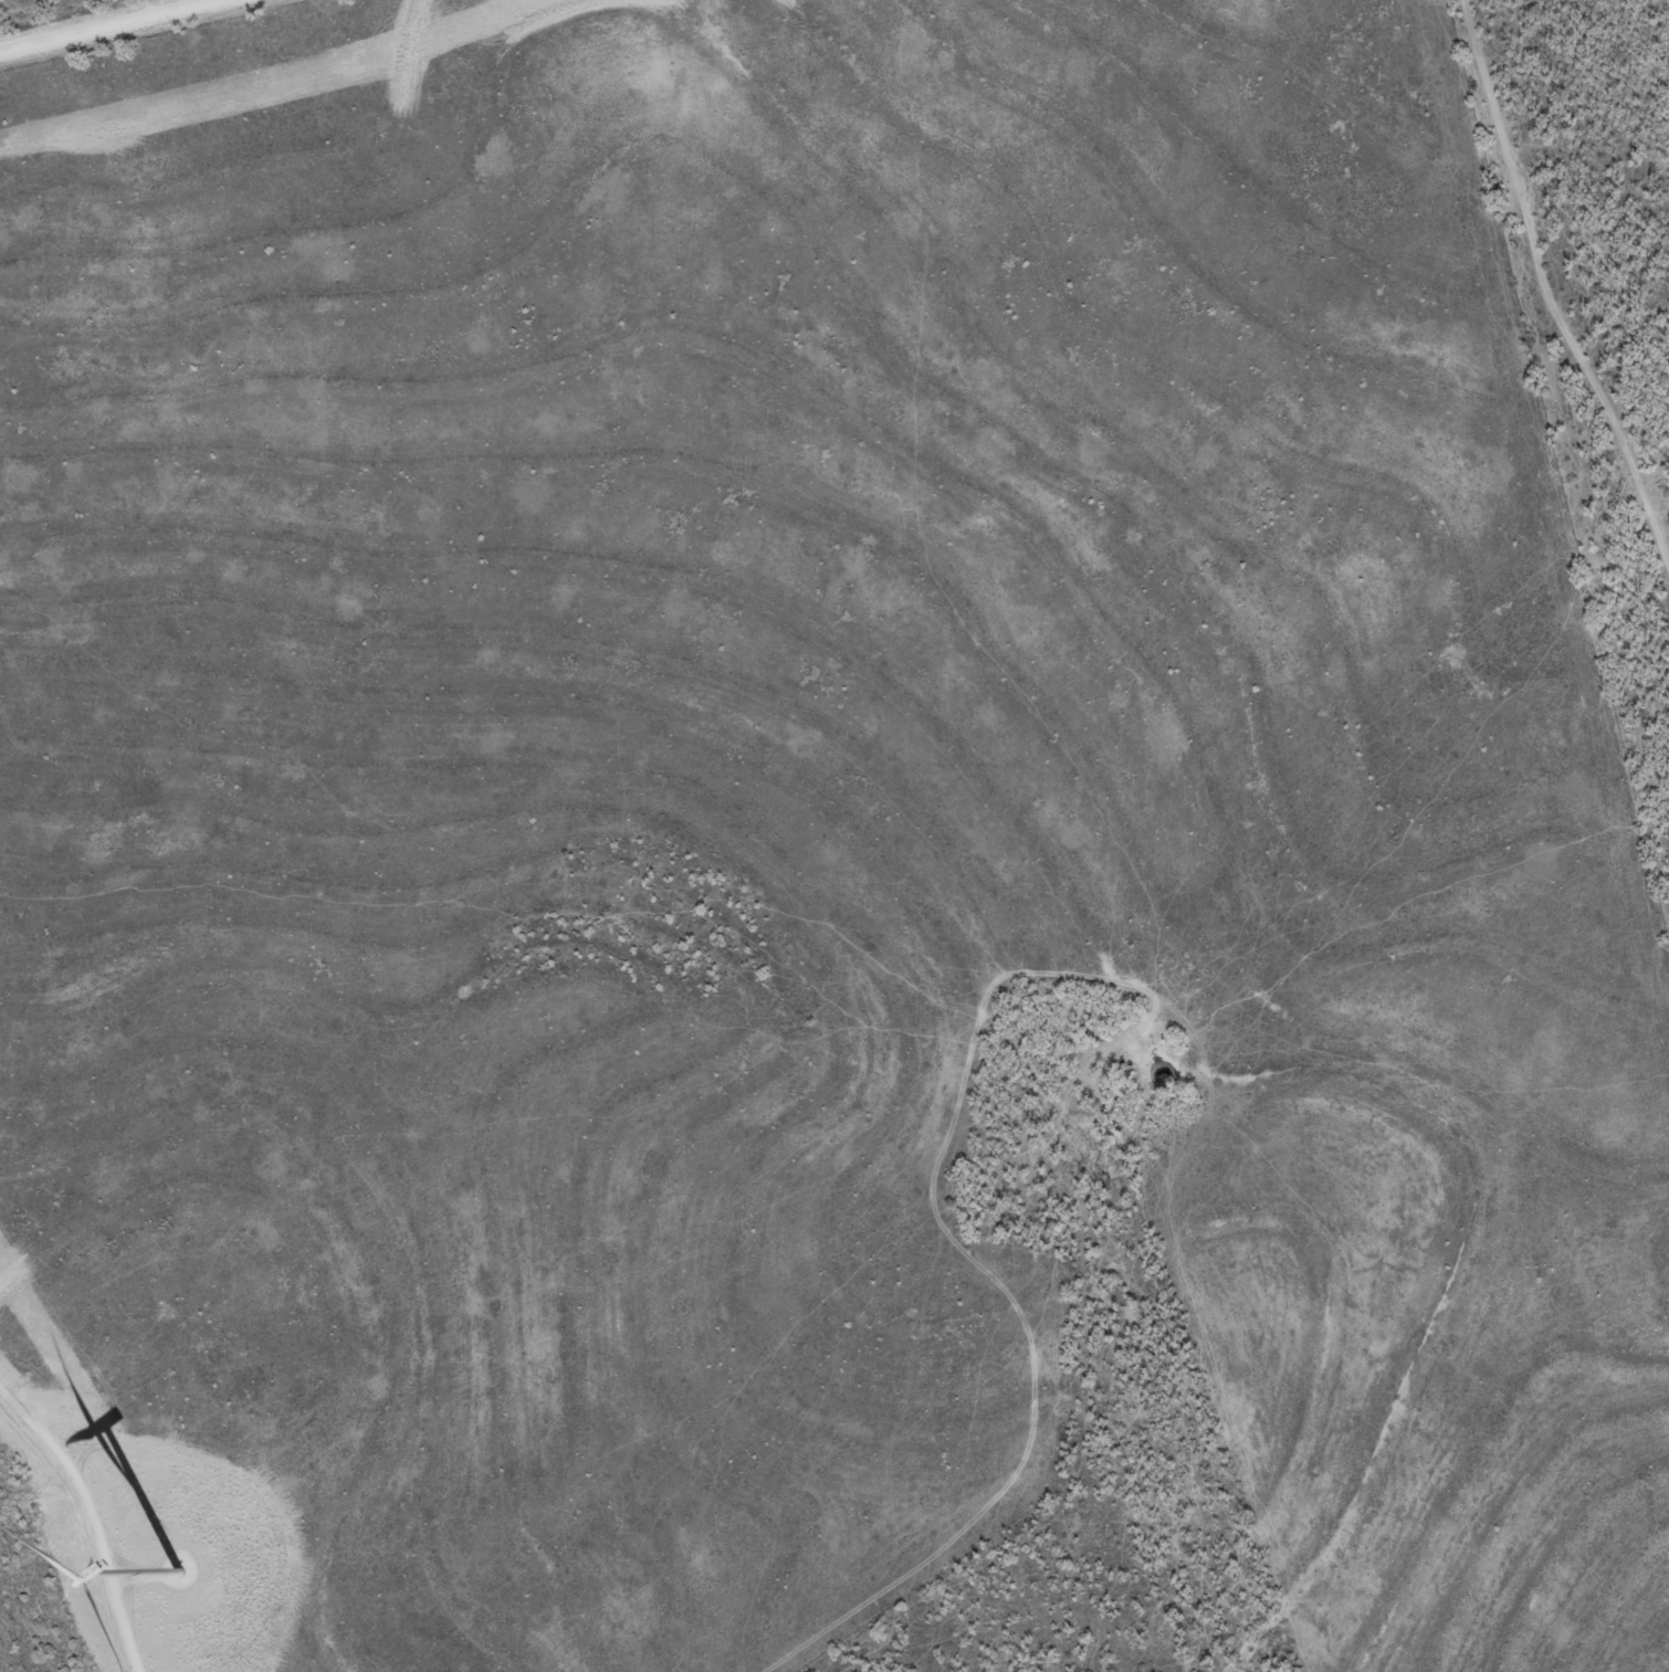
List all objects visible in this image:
road: (109, 25)
road: (1535, 259)
road: (96, 1514)
wind turbine: (182, 1570)

